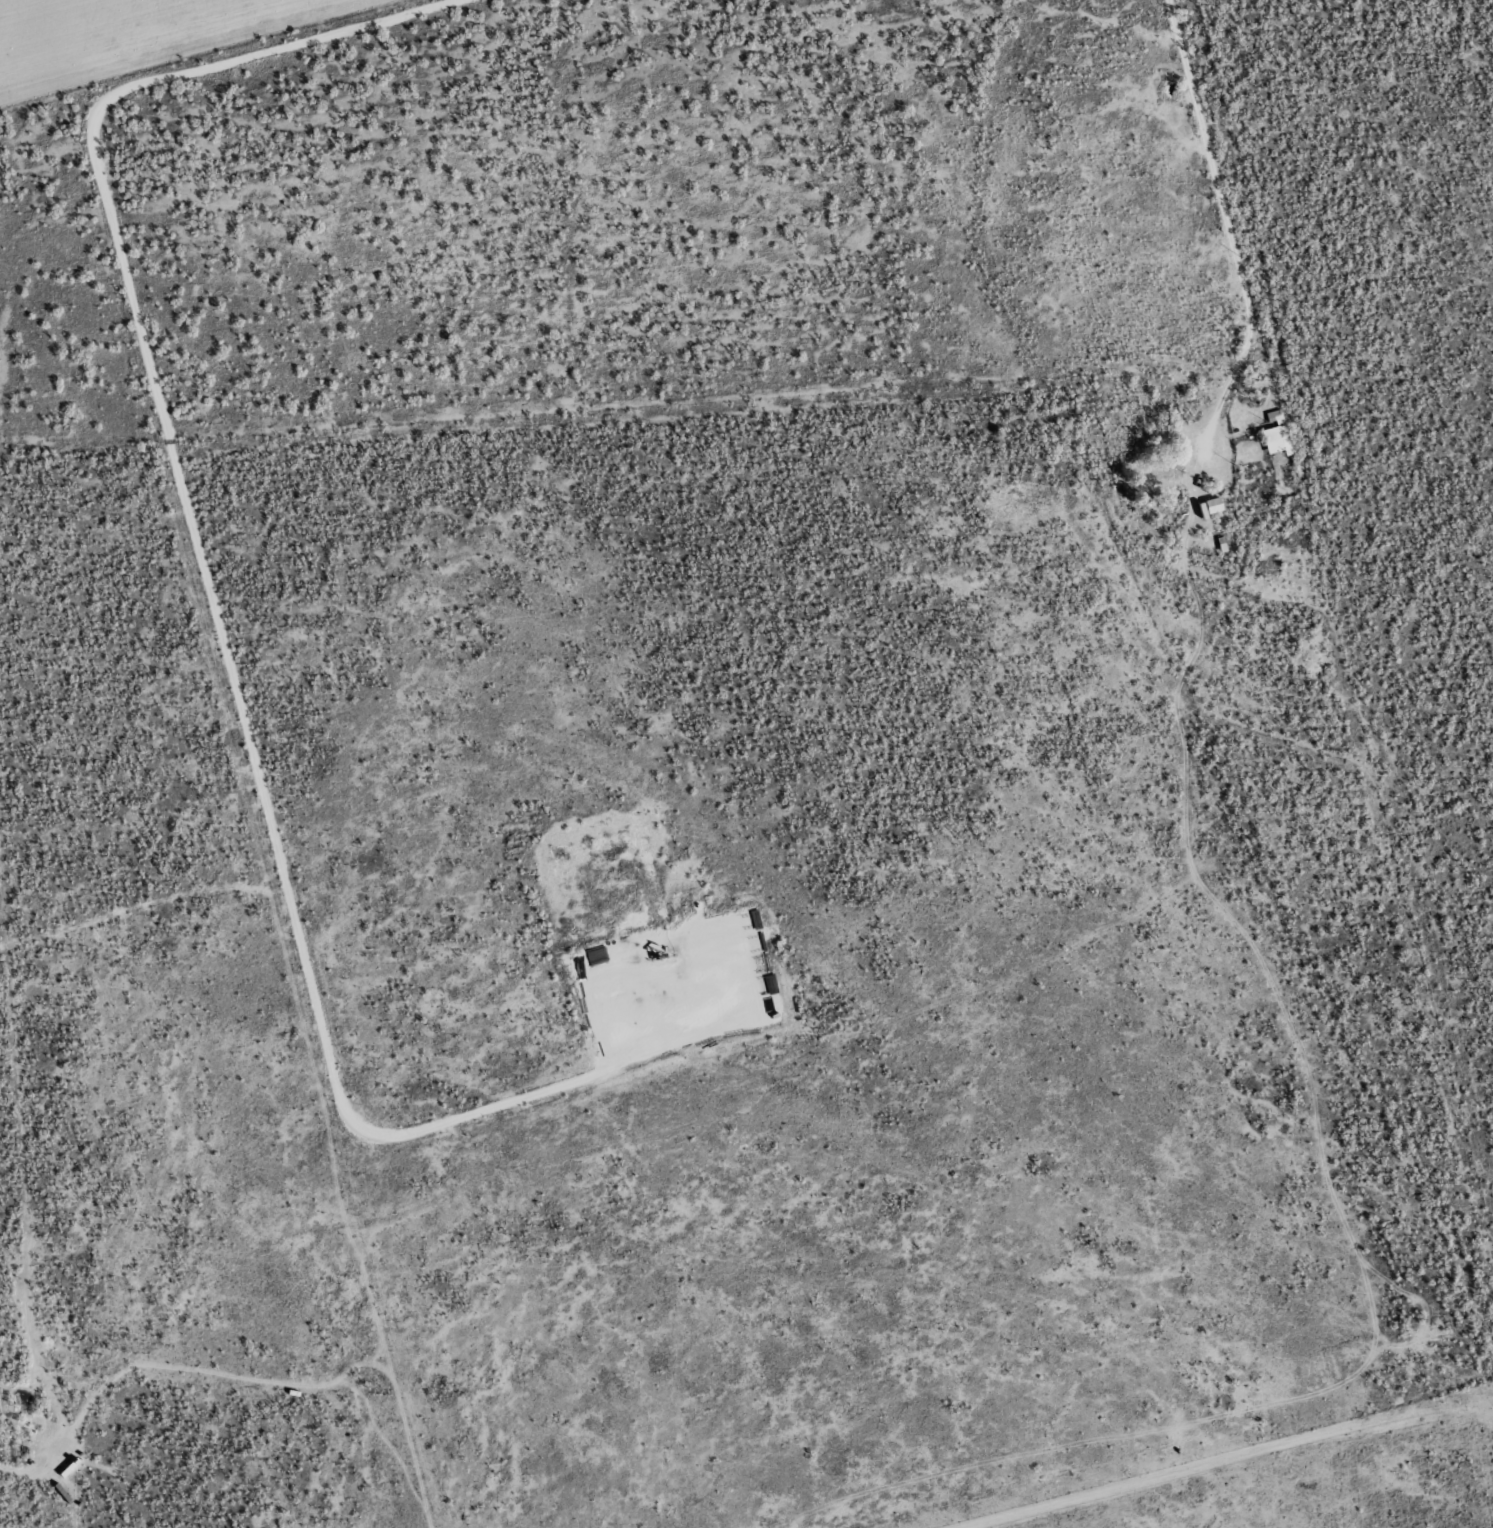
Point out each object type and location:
road: (1253, 305)
building: (1274, 433)
building: (1211, 504)

